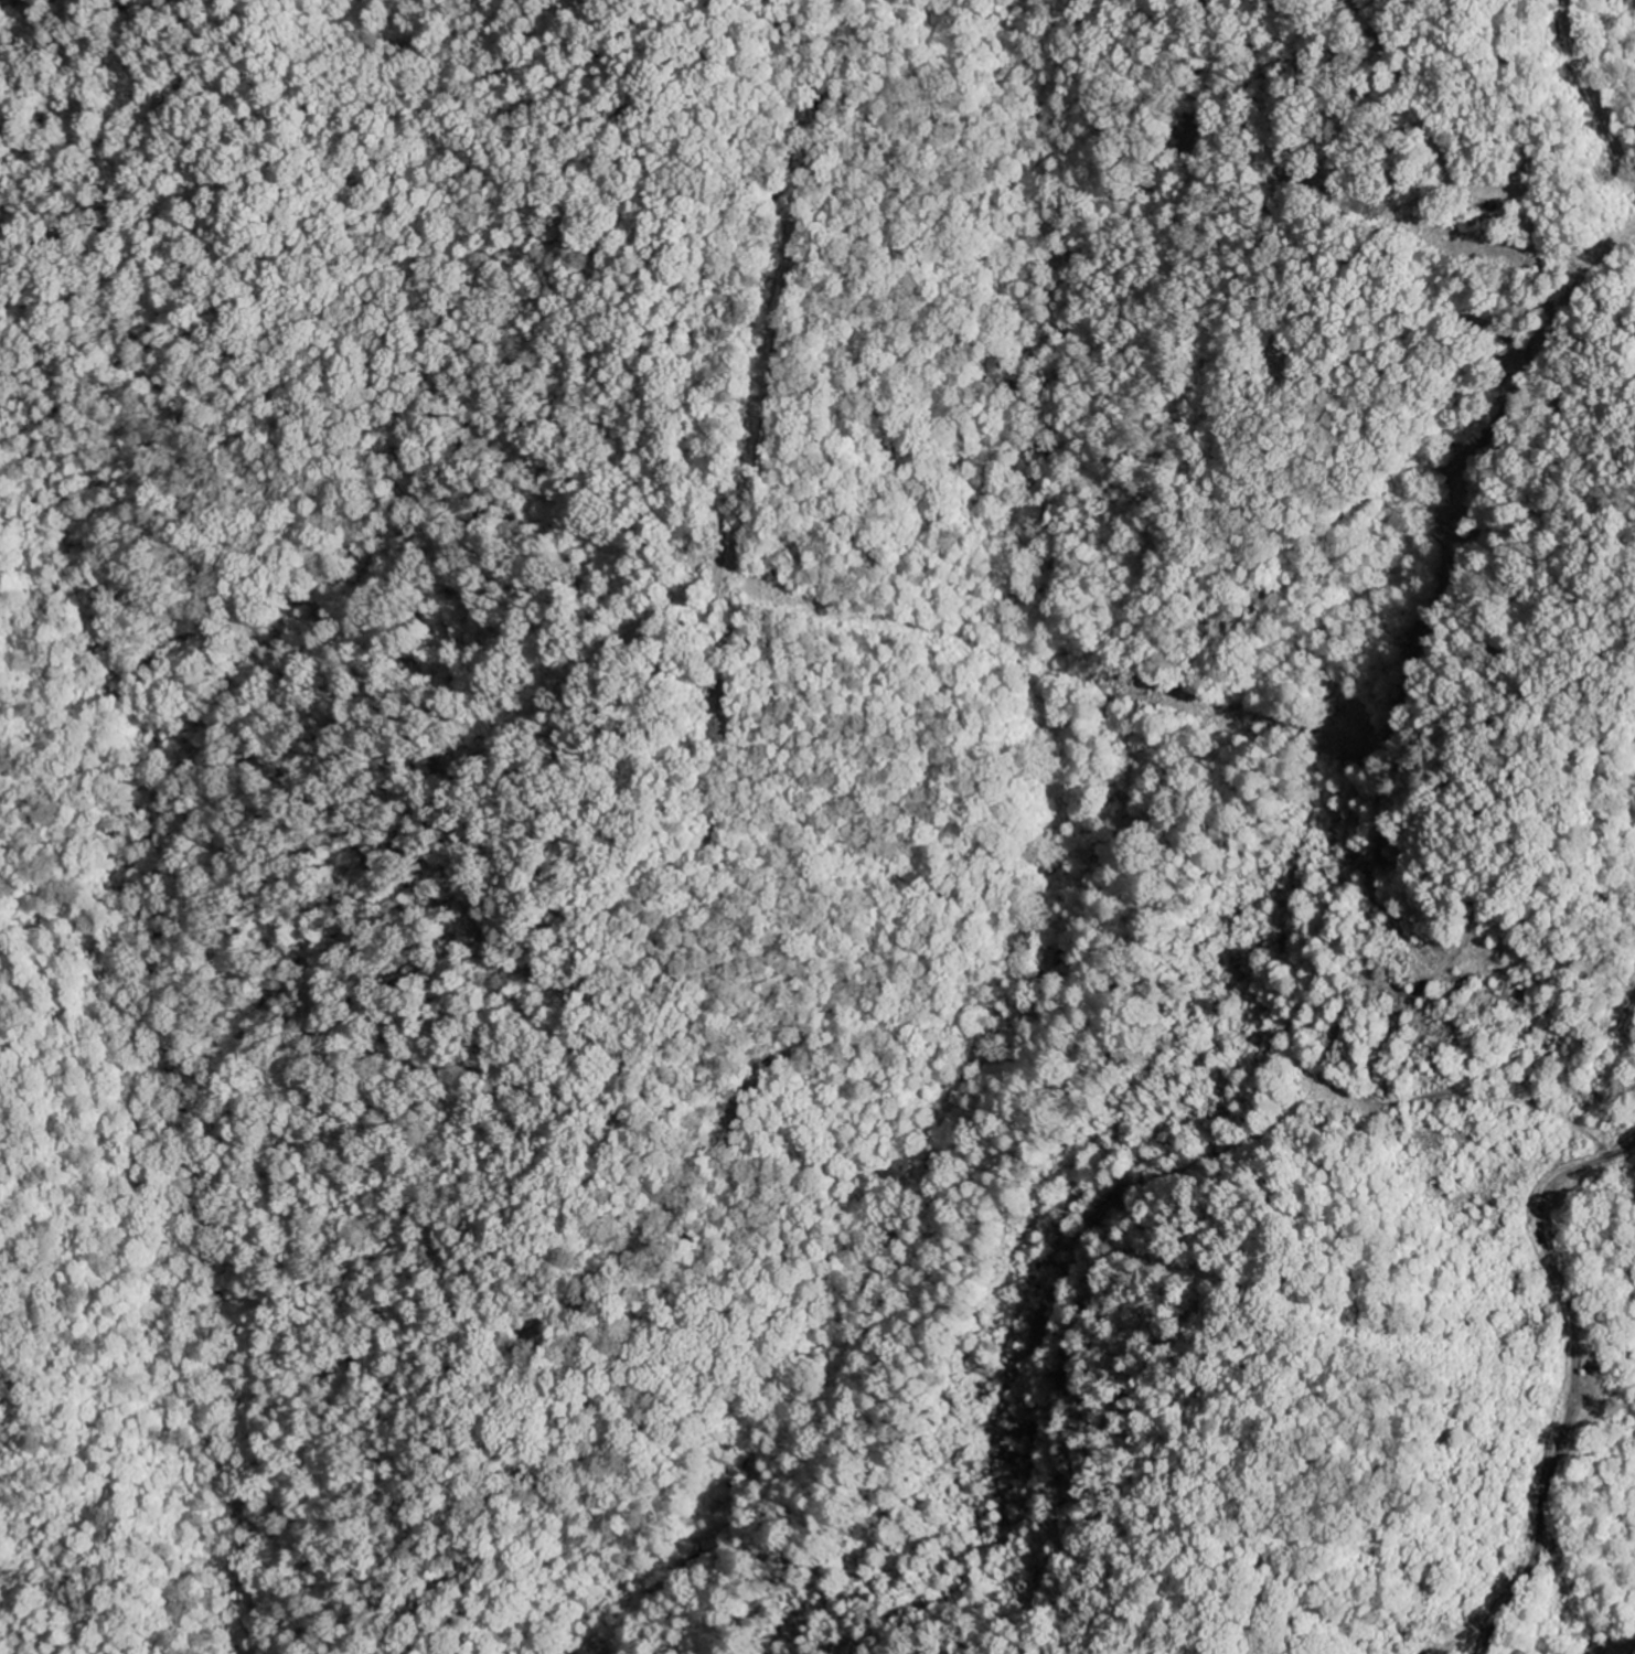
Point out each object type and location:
road: (1607, 73)
road: (1631, 845)
road: (1498, 1313)

